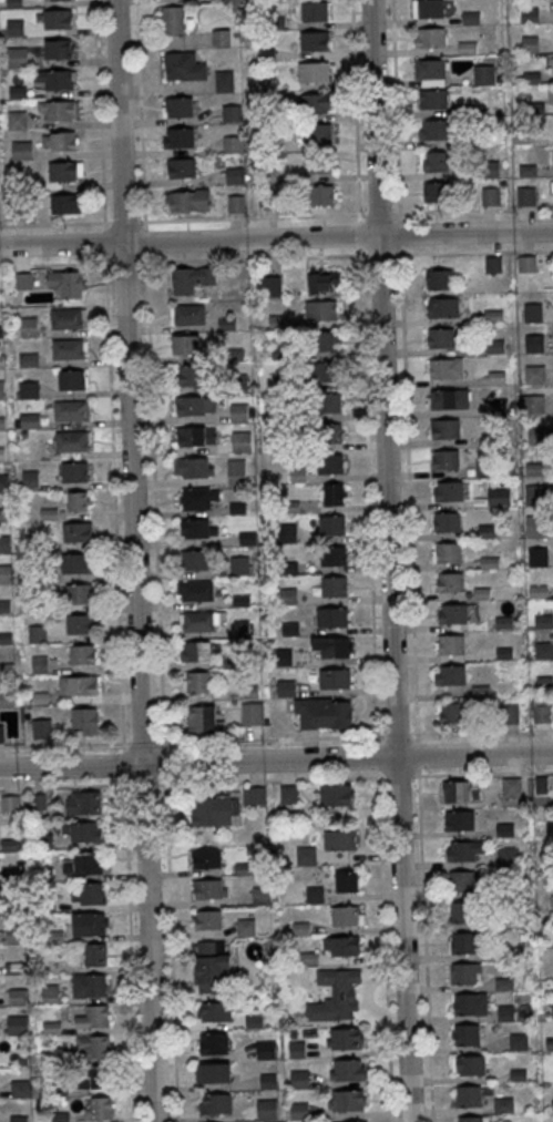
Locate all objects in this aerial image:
building: (428, 9)
building: (314, 11)
building: (58, 18)
building: (173, 19)
building: (221, 37)
building: (429, 37)
building: (314, 41)
building: (530, 44)
building: (57, 48)
building: (18, 57)
building: (183, 67)
building: (314, 71)
building: (429, 72)
building: (485, 73)
building: (53, 79)
building: (224, 80)
building: (432, 99)
building: (315, 102)
building: (177, 106)
building: (58, 110)
building: (232, 113)
building: (18, 120)
building: (432, 130)
building: (318, 133)
building: (177, 137)
building: (60, 141)
building: (233, 144)
building: (22, 150)
building: (433, 161)
building: (318, 164)
building: (182, 167)
building: (62, 171)
building: (437, 192)
building: (322, 194)
building: (525, 195)
building: (490, 196)
building: (187, 200)
building: (64, 203)
building: (236, 203)
road: (276, 216)
road: (276, 237)
road: (477, 252)
road: (253, 257)
building: (526, 263)
road: (53, 264)
building: (493, 264)
building: (191, 278)
building: (439, 278)
building: (24, 280)
building: (322, 283)
building: (64, 284)
building: (270, 286)
building: (444, 306)
building: (320, 310)
building: (533, 312)
building: (188, 314)
building: (493, 316)
building: (66, 317)
building: (278, 322)
building: (227, 324)
building: (29, 327)
building: (1, 331)
building: (442, 337)
building: (326, 340)
building: (185, 344)
building: (535, 344)
building: (68, 348)
building: (280, 351)
building: (1, 359)
building: (29, 360)
building: (443, 367)
building: (321, 373)
building: (535, 374)
building: (193, 376)
building: (71, 379)
building: (281, 381)
building: (2, 389)
building: (29, 389)
building: (443, 400)
building: (329, 401)
building: (534, 404)
building: (195, 406)
building: (71, 410)
building: (239, 412)
building: (296, 414)
building: (30, 420)
building: (2, 422)
building: (447, 428)
building: (329, 432)
building: (192, 436)
building: (537, 436)
building: (72, 440)
building: (242, 441)
building: (297, 445)
building: (2, 453)
building: (447, 459)
building: (330, 462)
building: (194, 467)
building: (236, 470)
building: (74, 471)
building: (297, 472)
building: (30, 478)
road: (154, 481)
building: (3, 482)
building: (450, 490)
building: (334, 493)
road: (409, 494)
building: (536, 494)
building: (499, 496)
building: (197, 498)
building: (75, 501)
road: (115, 503)
building: (291, 507)
building: (237, 508)
building: (3, 513)
building: (50, 514)
building: (448, 522)
building: (331, 524)
building: (534, 524)
building: (198, 528)
building: (76, 531)
building: (488, 531)
building: (288, 535)
building: (247, 538)
building: (4, 543)
building: (40, 544)
building: (449, 552)
building: (334, 555)
building: (537, 557)
building: (194, 559)
road: (136, 560)
road: (391, 560)
building: (78, 562)
building: (490, 562)
building: (238, 565)
building: (289, 568)
building: (6, 573)
building: (35, 575)
building: (451, 581)
building: (334, 585)
building: (195, 590)
building: (539, 591)
building: (79, 592)
building: (482, 592)
building: (288, 596)
building: (242, 601)
building: (6, 605)
building: (37, 606)
building: (452, 613)
building: (332, 616)
building: (197, 621)
building: (504, 621)
building: (545, 621)
building: (80, 623)
building: (290, 629)
building: (243, 630)
building: (38, 634)
building: (6, 637)
building: (450, 644)
building: (332, 646)
building: (544, 649)
building: (196, 651)
building: (504, 653)
building: (82, 654)
building: (284, 656)
building: (232, 662)
building: (40, 664)
road: (373, 667)
building: (7, 669)
building: (450, 674)
building: (335, 679)
building: (199, 682)
building: (83, 684)
building: (286, 687)
building: (247, 691)
building: (41, 697)
building: (7, 698)
building: (542, 711)
building: (453, 712)
building: (254, 713)
building: (322, 713)
building: (510, 714)
building: (84, 717)
building: (204, 721)
building: (41, 728)
building: (1, 732)
road: (276, 738)
road: (276, 761)
building: (512, 787)
building: (457, 789)
building: (288, 794)
building: (337, 794)
building: (254, 795)
building: (83, 802)
building: (9, 803)
building: (214, 810)
building: (460, 819)
building: (82, 832)
building: (340, 839)
building: (464, 850)
building: (508, 856)
building: (206, 858)
building: (84, 864)
building: (348, 880)
building: (461, 880)
building: (208, 888)
building: (88, 894)
building: (315, 894)
building: (262, 896)
building: (552, 902)
building: (462, 911)
building: (345, 915)
building: (207, 919)
building: (90, 924)
building: (245, 927)
road: (424, 928)
building: (463, 942)
building: (346, 946)
building: (95, 953)
building: (213, 967)
building: (464, 972)
building: (89, 985)
building: (335, 996)
building: (18, 997)
building: (467, 1003)
building: (214, 1011)
building: (505, 1013)
building: (93, 1018)
building: (17, 1024)
building: (468, 1034)
building: (345, 1038)
building: (214, 1042)
building: (550, 1043)
building: (94, 1047)
building: (265, 1049)
building: (51, 1053)
building: (471, 1064)
building: (346, 1070)
building: (215, 1072)
building: (92, 1078)
building: (299, 1079)
building: (20, 1088)
building: (469, 1095)
building: (345, 1100)
building: (215, 1103)
building: (503, 1104)
building: (98, 1108)
building: (267, 1109)
building: (471, 1119)

